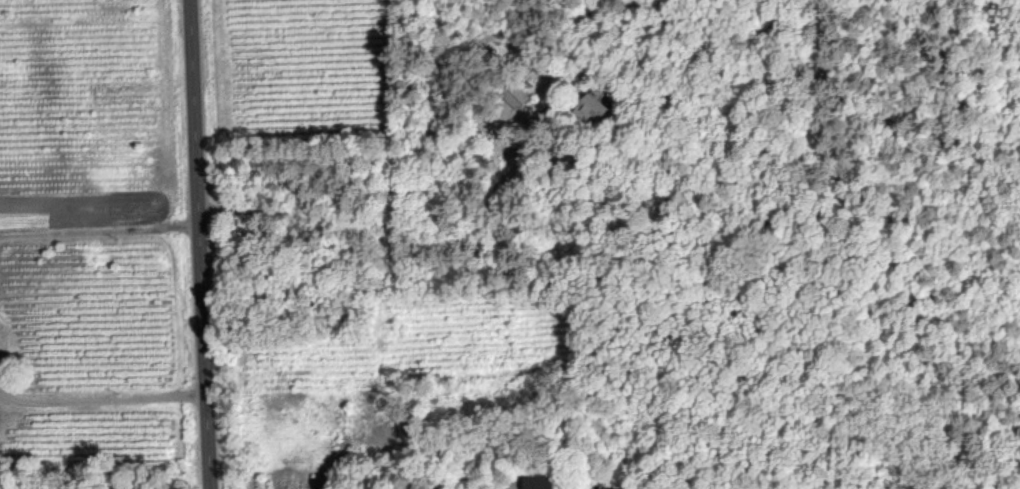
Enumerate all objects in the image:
building: (515, 96)
building: (588, 110)
road: (393, 230)
road: (199, 244)
road: (103, 398)
building: (540, 482)

